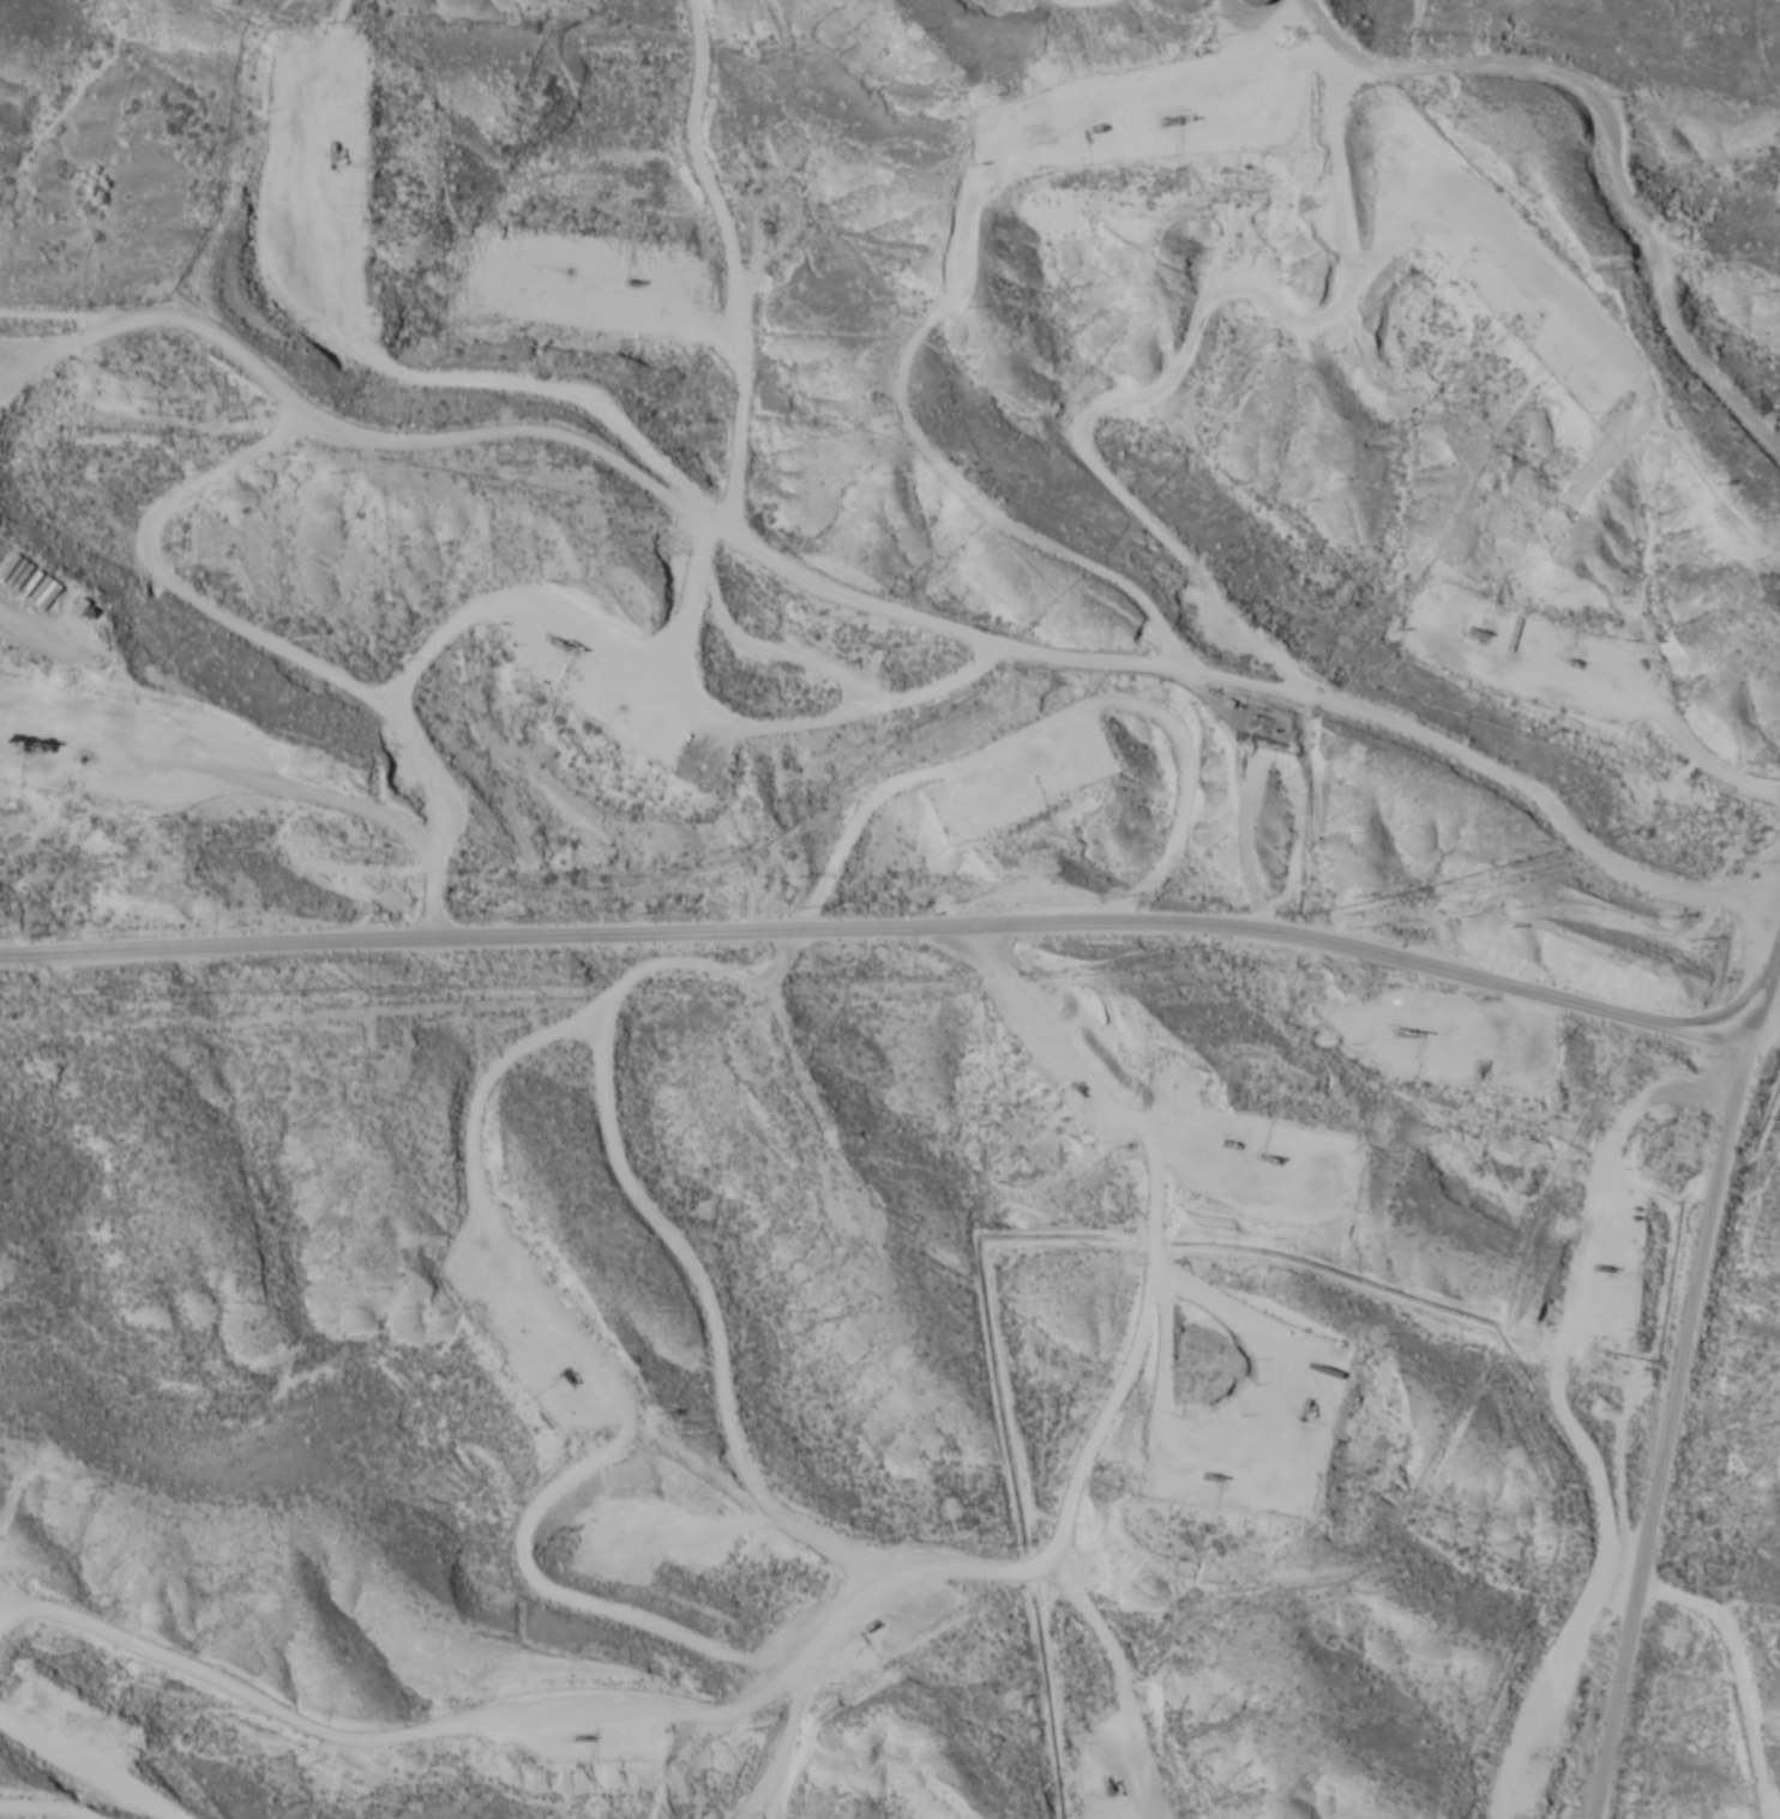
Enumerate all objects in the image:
building: (1259, 1)
road: (390, 272)
road: (954, 284)
road: (1126, 380)
road: (637, 520)
petroleum well: (1480, 632)
road: (321, 656)
petroleum well: (1574, 662)
building: (692, 763)
road: (895, 933)
road: (1764, 984)
petroleum well: (1408, 1031)
petroleum well: (1270, 1161)
petroleum well: (1604, 1267)
petroleum well: (1304, 1405)
road: (1664, 1421)
road: (794, 1470)
road: (389, 1663)
road: (1739, 1673)

